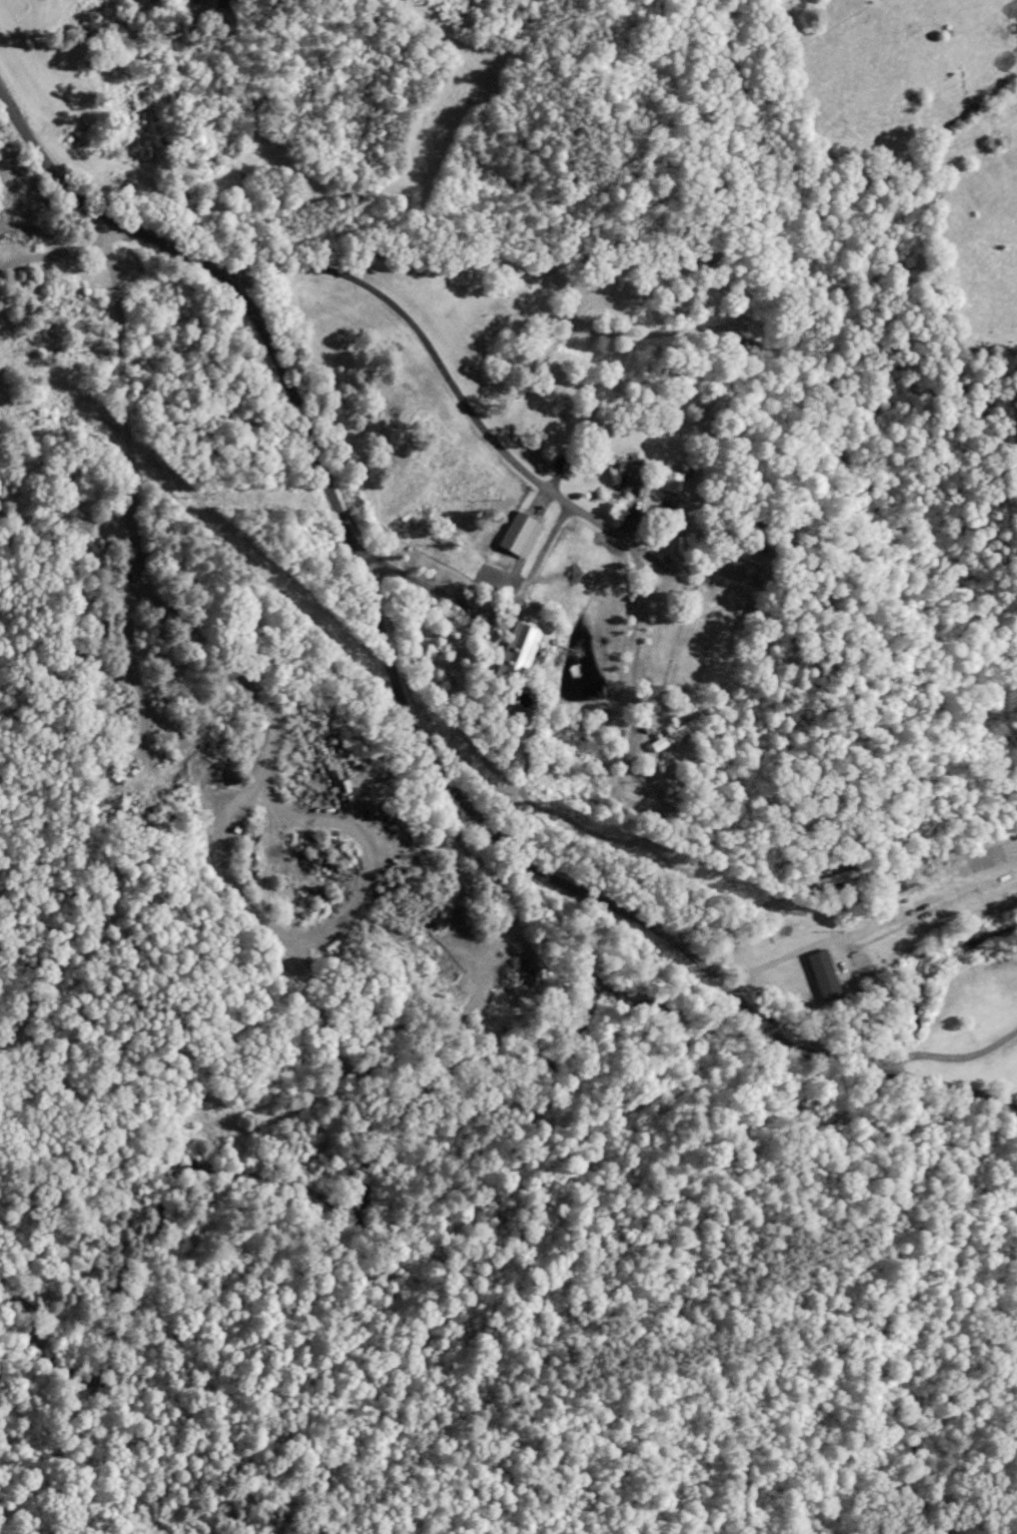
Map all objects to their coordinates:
road: (32, 218)
building: (626, 482)
building: (673, 483)
building: (519, 537)
building: (518, 650)
road: (400, 705)
building: (672, 738)
building: (908, 882)

